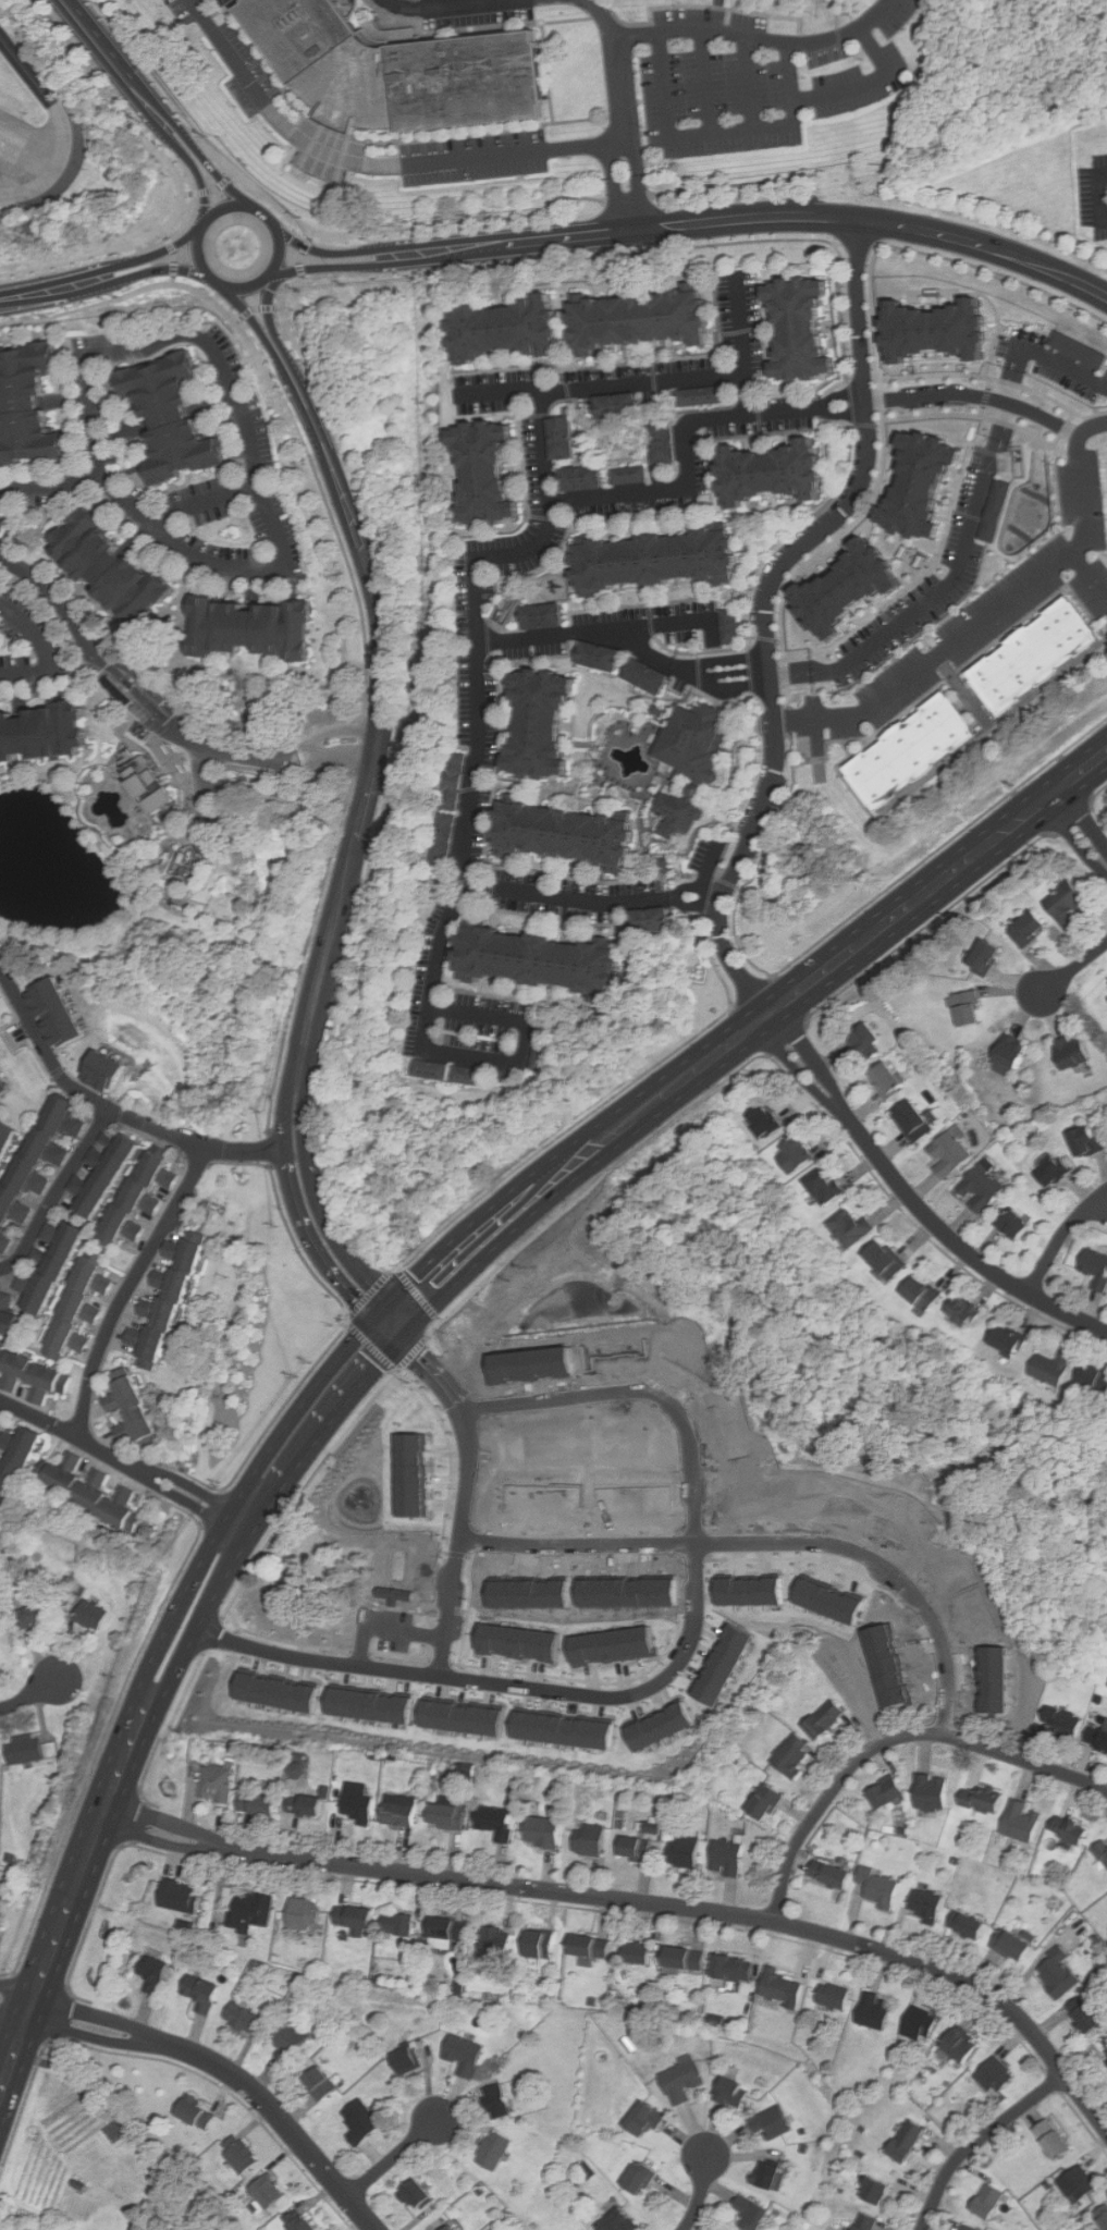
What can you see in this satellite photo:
road: (195, 1)
road: (442, 5)
road: (717, 15)
road: (758, 38)
road: (111, 53)
road: (146, 64)
road: (613, 66)
road: (26, 70)
building: (397, 70)
road: (97, 73)
road: (866, 82)
road: (708, 83)
road: (748, 83)
road: (175, 119)
road: (156, 126)
road: (170, 126)
road: (721, 133)
road: (28, 154)
road: (369, 164)
road: (57, 167)
road: (217, 176)
road: (202, 182)
road: (637, 183)
road: (614, 185)
road: (211, 189)
road: (1105, 195)
parking lot: (1097, 196)
road: (270, 198)
road: (630, 198)
road: (181, 213)
road: (484, 219)
road: (875, 220)
road: (514, 241)
road: (854, 241)
road: (835, 242)
road: (378, 245)
road: (685, 248)
road: (177, 250)
road: (307, 250)
road: (176, 255)
road: (300, 256)
road: (199, 257)
road: (366, 258)
road: (304, 261)
road: (179, 264)
road: (57, 265)
road: (102, 266)
road: (383, 268)
road: (993, 271)
road: (76, 284)
road: (292, 286)
road: (104, 289)
road: (211, 295)
road: (265, 302)
road: (248, 307)
road: (258, 308)
road: (60, 315)
building: (631, 318)
building: (794, 326)
building: (926, 327)
building: (499, 328)
building: (1078, 350)
road: (284, 362)
road: (302, 375)
road: (284, 381)
building: (699, 399)
building: (32, 405)
building: (611, 407)
road: (309, 413)
road: (780, 413)
building: (177, 416)
road: (250, 424)
building: (561, 438)
building: (659, 443)
building: (480, 468)
building: (764, 474)
road: (46, 476)
building: (623, 476)
building: (576, 479)
building: (911, 483)
road: (208, 502)
building: (997, 510)
building: (1, 525)
road: (967, 525)
road: (341, 541)
road: (537, 546)
building: (648, 557)
building: (118, 565)
building: (837, 585)
road: (764, 610)
road: (991, 613)
building: (542, 616)
road: (661, 622)
building: (729, 625)
building: (256, 627)
road: (626, 645)
road: (47, 650)
building: (1034, 654)
building: (601, 657)
building: (647, 676)
road: (127, 677)
building: (541, 722)
building: (44, 732)
road: (337, 732)
building: (689, 738)
road: (362, 743)
road: (288, 750)
building: (910, 750)
road: (374, 758)
road: (328, 759)
building: (453, 781)
building: (150, 783)
road: (1097, 793)
road: (201, 808)
building: (673, 814)
road: (1071, 817)
road: (1079, 828)
building: (556, 829)
building: (444, 838)
road: (939, 846)
fountain: (38, 855)
road: (514, 891)
building: (1065, 904)
building: (649, 920)
road: (925, 926)
building: (1025, 928)
building: (534, 956)
building: (981, 956)
road: (1074, 967)
road: (753, 993)
building: (964, 1007)
building: (59, 1013)
road: (784, 1039)
road: (524, 1041)
building: (864, 1041)
building: (539, 1049)
building: (1008, 1051)
building: (1069, 1051)
building: (106, 1071)
building: (426, 1071)
building: (467, 1078)
building: (884, 1079)
building: (4, 1086)
road: (115, 1112)
building: (762, 1120)
building: (911, 1120)
building: (1083, 1140)
building: (9, 1143)
building: (949, 1151)
building: (792, 1153)
building: (40, 1162)
building: (1050, 1172)
building: (107, 1176)
building: (822, 1186)
building: (979, 1188)
road: (589, 1190)
road: (57, 1193)
building: (143, 1196)
road: (913, 1198)
road: (315, 1215)
road: (305, 1218)
building: (1011, 1224)
building: (849, 1227)
road: (1061, 1240)
building: (883, 1259)
building: (56, 1266)
building: (1094, 1267)
road: (128, 1287)
building: (919, 1292)
road: (417, 1294)
building: (171, 1303)
building: (83, 1307)
road: (407, 1309)
building: (961, 1312)
building: (8, 1315)
road: (440, 1319)
traffic signals: (394, 1323)
building: (1005, 1340)
road: (411, 1353)
building: (534, 1359)
building: (1050, 1368)
building: (35, 1374)
building: (1093, 1377)
road: (1, 1406)
building: (136, 1410)
road: (122, 1460)
building: (16, 1463)
building: (410, 1475)
road: (302, 1488)
road: (465, 1488)
building: (543, 1490)
building: (94, 1491)
building: (635, 1491)
road: (770, 1544)
road: (699, 1547)
building: (401, 1584)
building: (750, 1590)
building: (528, 1591)
building: (628, 1592)
building: (829, 1600)
building: (39, 1615)
building: (95, 1616)
road: (388, 1627)
road: (212, 1637)
building: (518, 1642)
building: (613, 1646)
building: (0, 1657)
road: (312, 1657)
building: (889, 1658)
building: (723, 1664)
building: (997, 1672)
building: (279, 1692)
road: (30, 1696)
building: (372, 1704)
building: (465, 1718)
building: (829, 1720)
building: (1063, 1724)
road: (169, 1725)
building: (661, 1726)
building: (565, 1729)
road: (890, 1738)
building: (1096, 1739)
building: (28, 1752)
building: (795, 1756)
building: (220, 1785)
building: (883, 1792)
building: (930, 1792)
building: (979, 1800)
building: (770, 1802)
building: (262, 1804)
building: (310, 1806)
building: (362, 1808)
building: (401, 1813)
building: (451, 1817)
road: (134, 1821)
building: (501, 1822)
building: (1019, 1823)
building: (651, 1826)
building: (1066, 1830)
building: (549, 1833)
building: (593, 1841)
building: (635, 1849)
building: (684, 1850)
building: (1100, 1851)
building: (725, 1855)
building: (833, 1874)
building: (883, 1887)
building: (181, 1896)
road: (640, 1903)
building: (930, 1906)
building: (254, 1911)
building: (302, 1913)
building: (1, 1914)
road: (93, 1916)
building: (353, 1916)
building: (403, 1924)
building: (965, 1925)
building: (443, 1931)
building: (491, 1941)
building: (543, 1944)
building: (1010, 1945)
building: (593, 1946)
building: (641, 1952)
building: (688, 1958)
building: (737, 1968)
building: (157, 1973)
building: (1055, 1973)
building: (780, 1985)
building: (205, 1994)
building: (836, 1996)
building: (877, 2010)
road: (63, 2015)
building: (1082, 2015)
building: (246, 2019)
building: (923, 2024)
building: (293, 2039)
building: (964, 2045)
building: (1104, 2045)
building: (467, 2055)
building: (410, 2061)
road: (218, 2064)
building: (998, 2076)
building: (685, 2081)
building: (324, 2084)
building: (737, 2093)
building: (500, 2102)
road: (23, 2105)
building: (199, 2112)
building: (650, 2119)
building: (365, 2121)
building: (775, 2122)
building: (1053, 2139)
road: (980, 2141)
building: (912, 2142)
building: (496, 2149)
building: (244, 2154)
road: (392, 2159)
building: (775, 2177)
building: (643, 2179)
building: (1077, 2184)
building: (271, 2191)
building: (882, 2191)
road: (701, 2193)
building: (421, 2195)
building: (988, 2202)
building: (757, 2211)
building: (1103, 2216)
building: (617, 2220)
building: (305, 2221)
building: (869, 2221)
building: (450, 2227)
building: (972, 2228)

